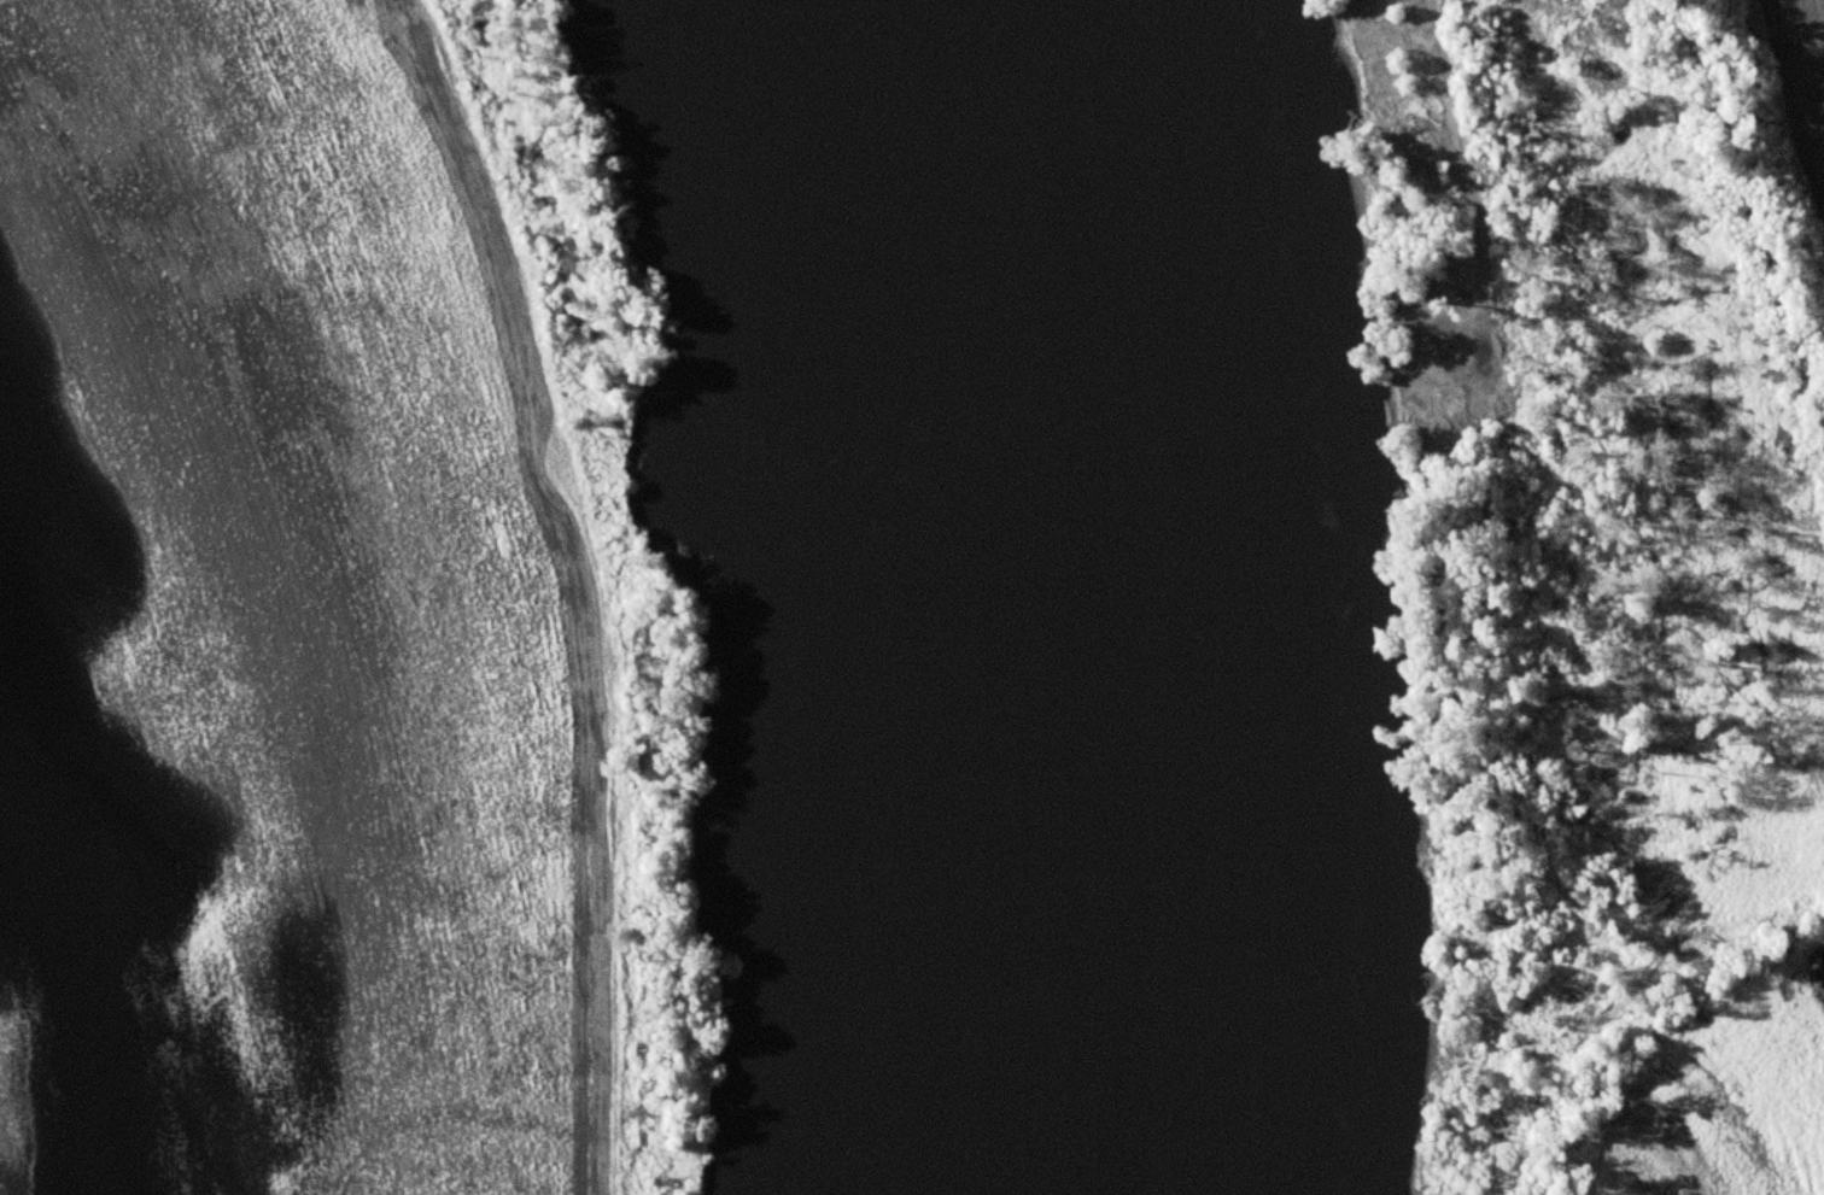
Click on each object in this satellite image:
river: (1034, 597)

